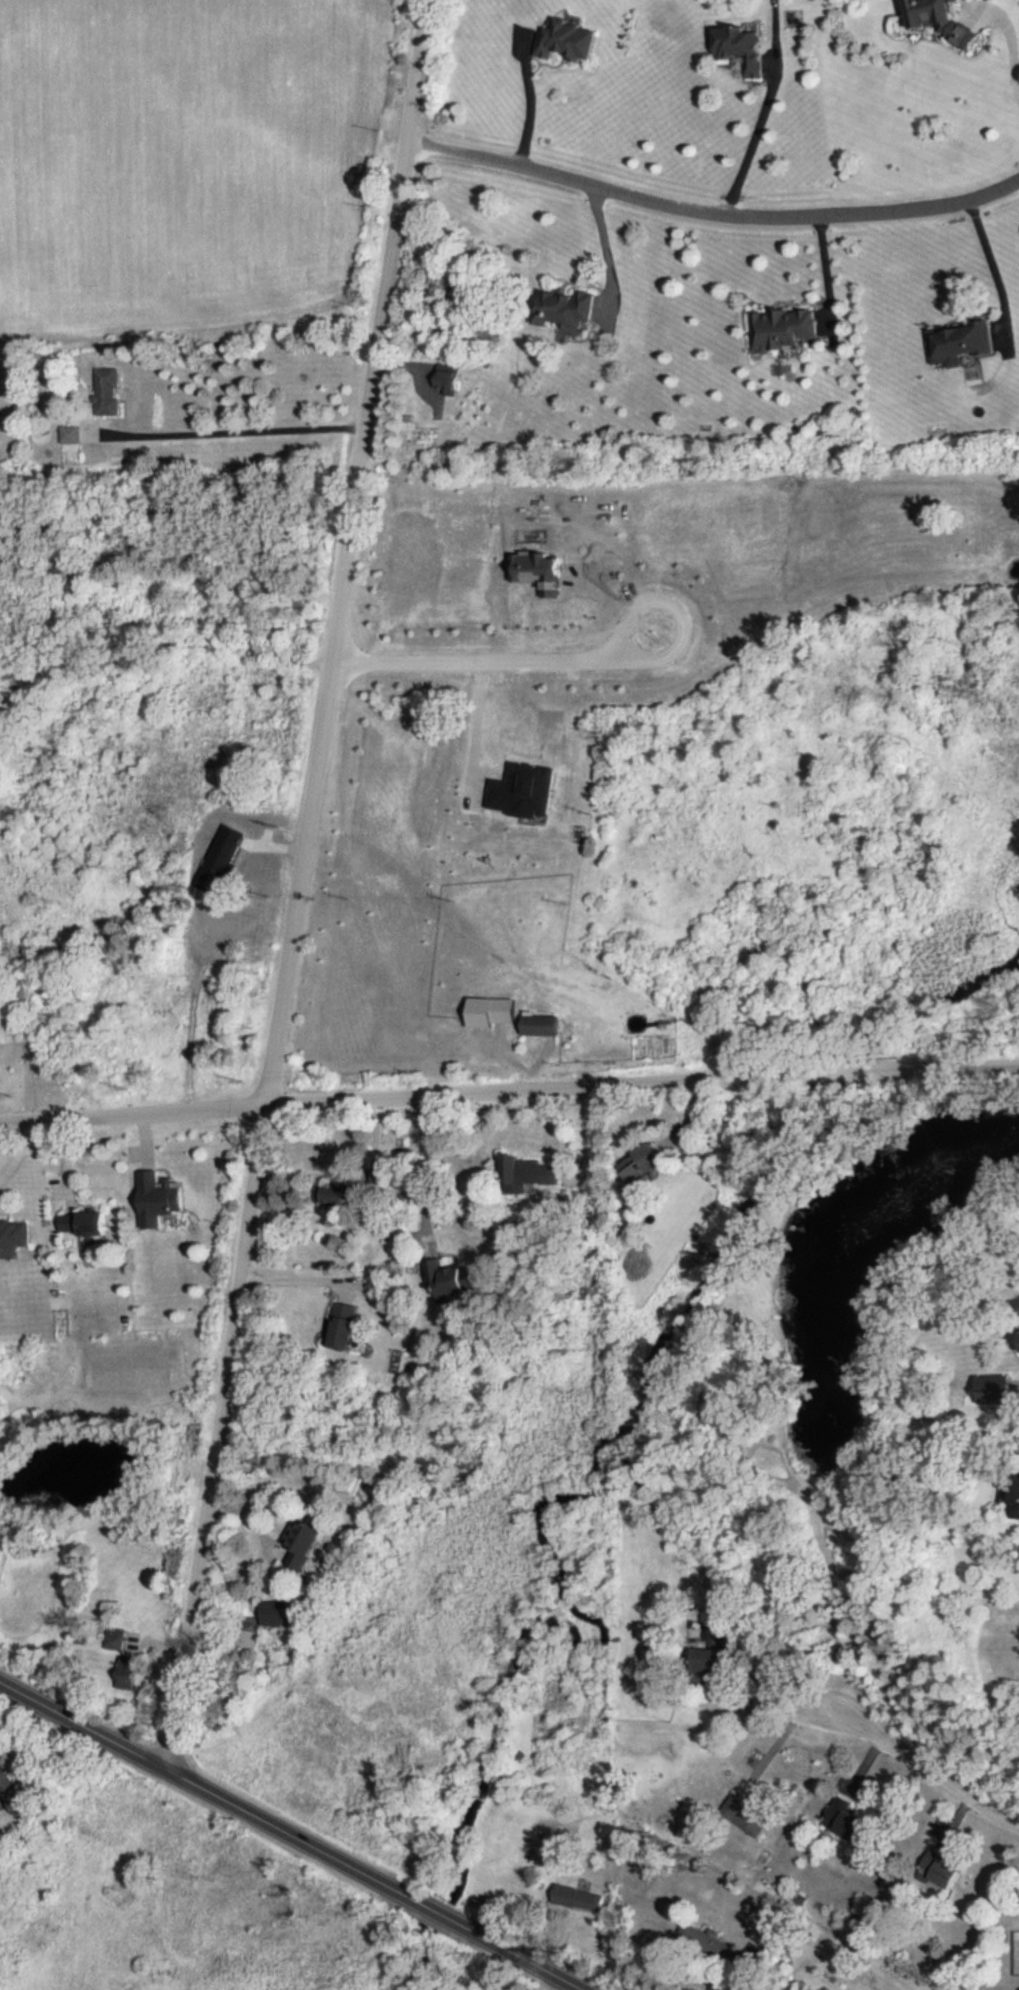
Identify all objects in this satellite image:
building: (942, 21)
building: (565, 39)
building: (744, 48)
road: (1010, 53)
road: (531, 102)
road: (761, 149)
road: (712, 219)
road: (609, 250)
road: (990, 274)
building: (566, 309)
building: (785, 326)
building: (964, 341)
building: (449, 382)
building: (110, 390)
building: (71, 433)
road: (230, 440)
road: (175, 560)
road: (166, 643)
road: (503, 668)
road: (478, 728)
road: (304, 882)
building: (494, 1011)
building: (544, 1024)
road: (960, 1069)
road: (894, 1071)
road: (443, 1099)
building: (644, 1163)
road: (426, 1170)
building: (532, 1171)
building: (156, 1193)
building: (88, 1227)
building: (15, 1235)
road: (298, 1274)
building: (446, 1278)
building: (341, 1321)
building: (997, 1388)
building: (300, 1538)
building: (275, 1609)
building: (126, 1668)
road: (757, 1679)
road: (85, 1719)
road: (772, 1746)
road: (914, 1768)
building: (14, 1792)
building: (744, 1811)
building: (846, 1822)
road: (304, 1835)
building: (578, 1899)
road: (444, 1911)
road: (521, 1952)
road: (740, 1975)
road: (558, 1982)

